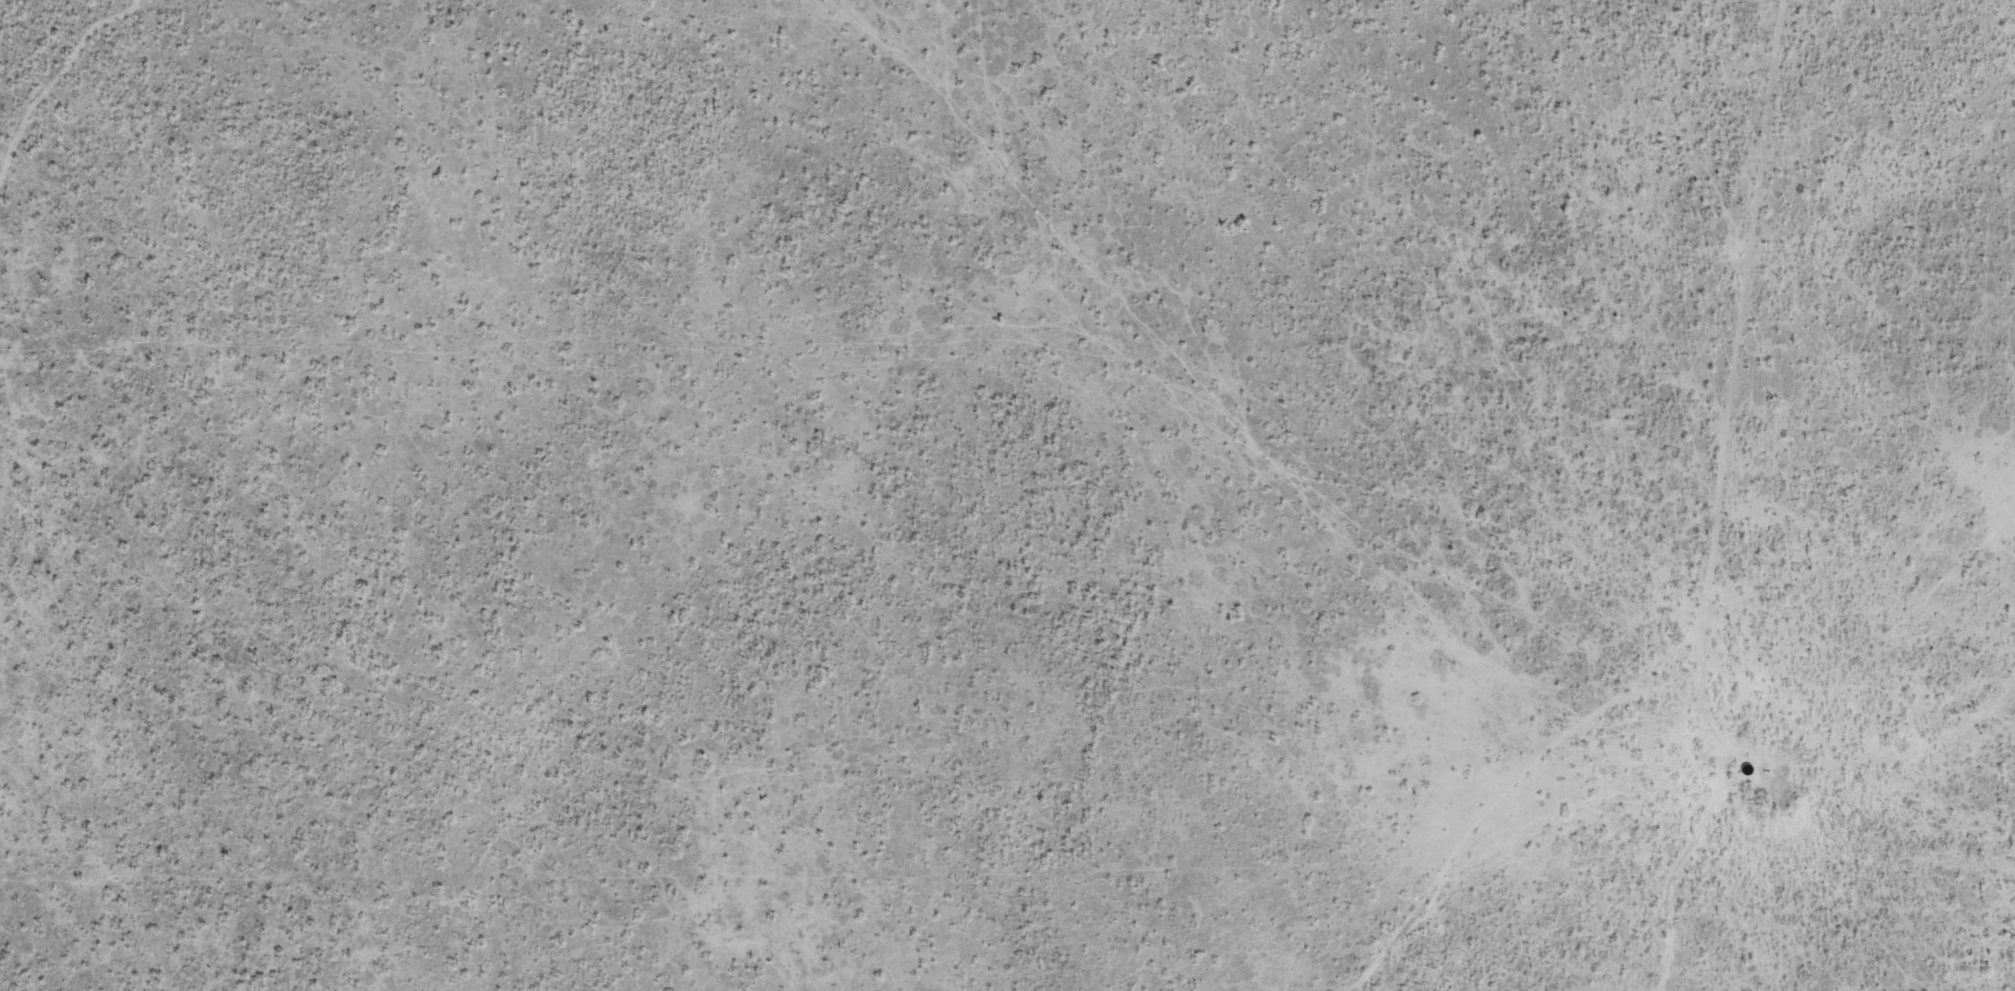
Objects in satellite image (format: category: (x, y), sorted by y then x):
road: (1662, 927)

